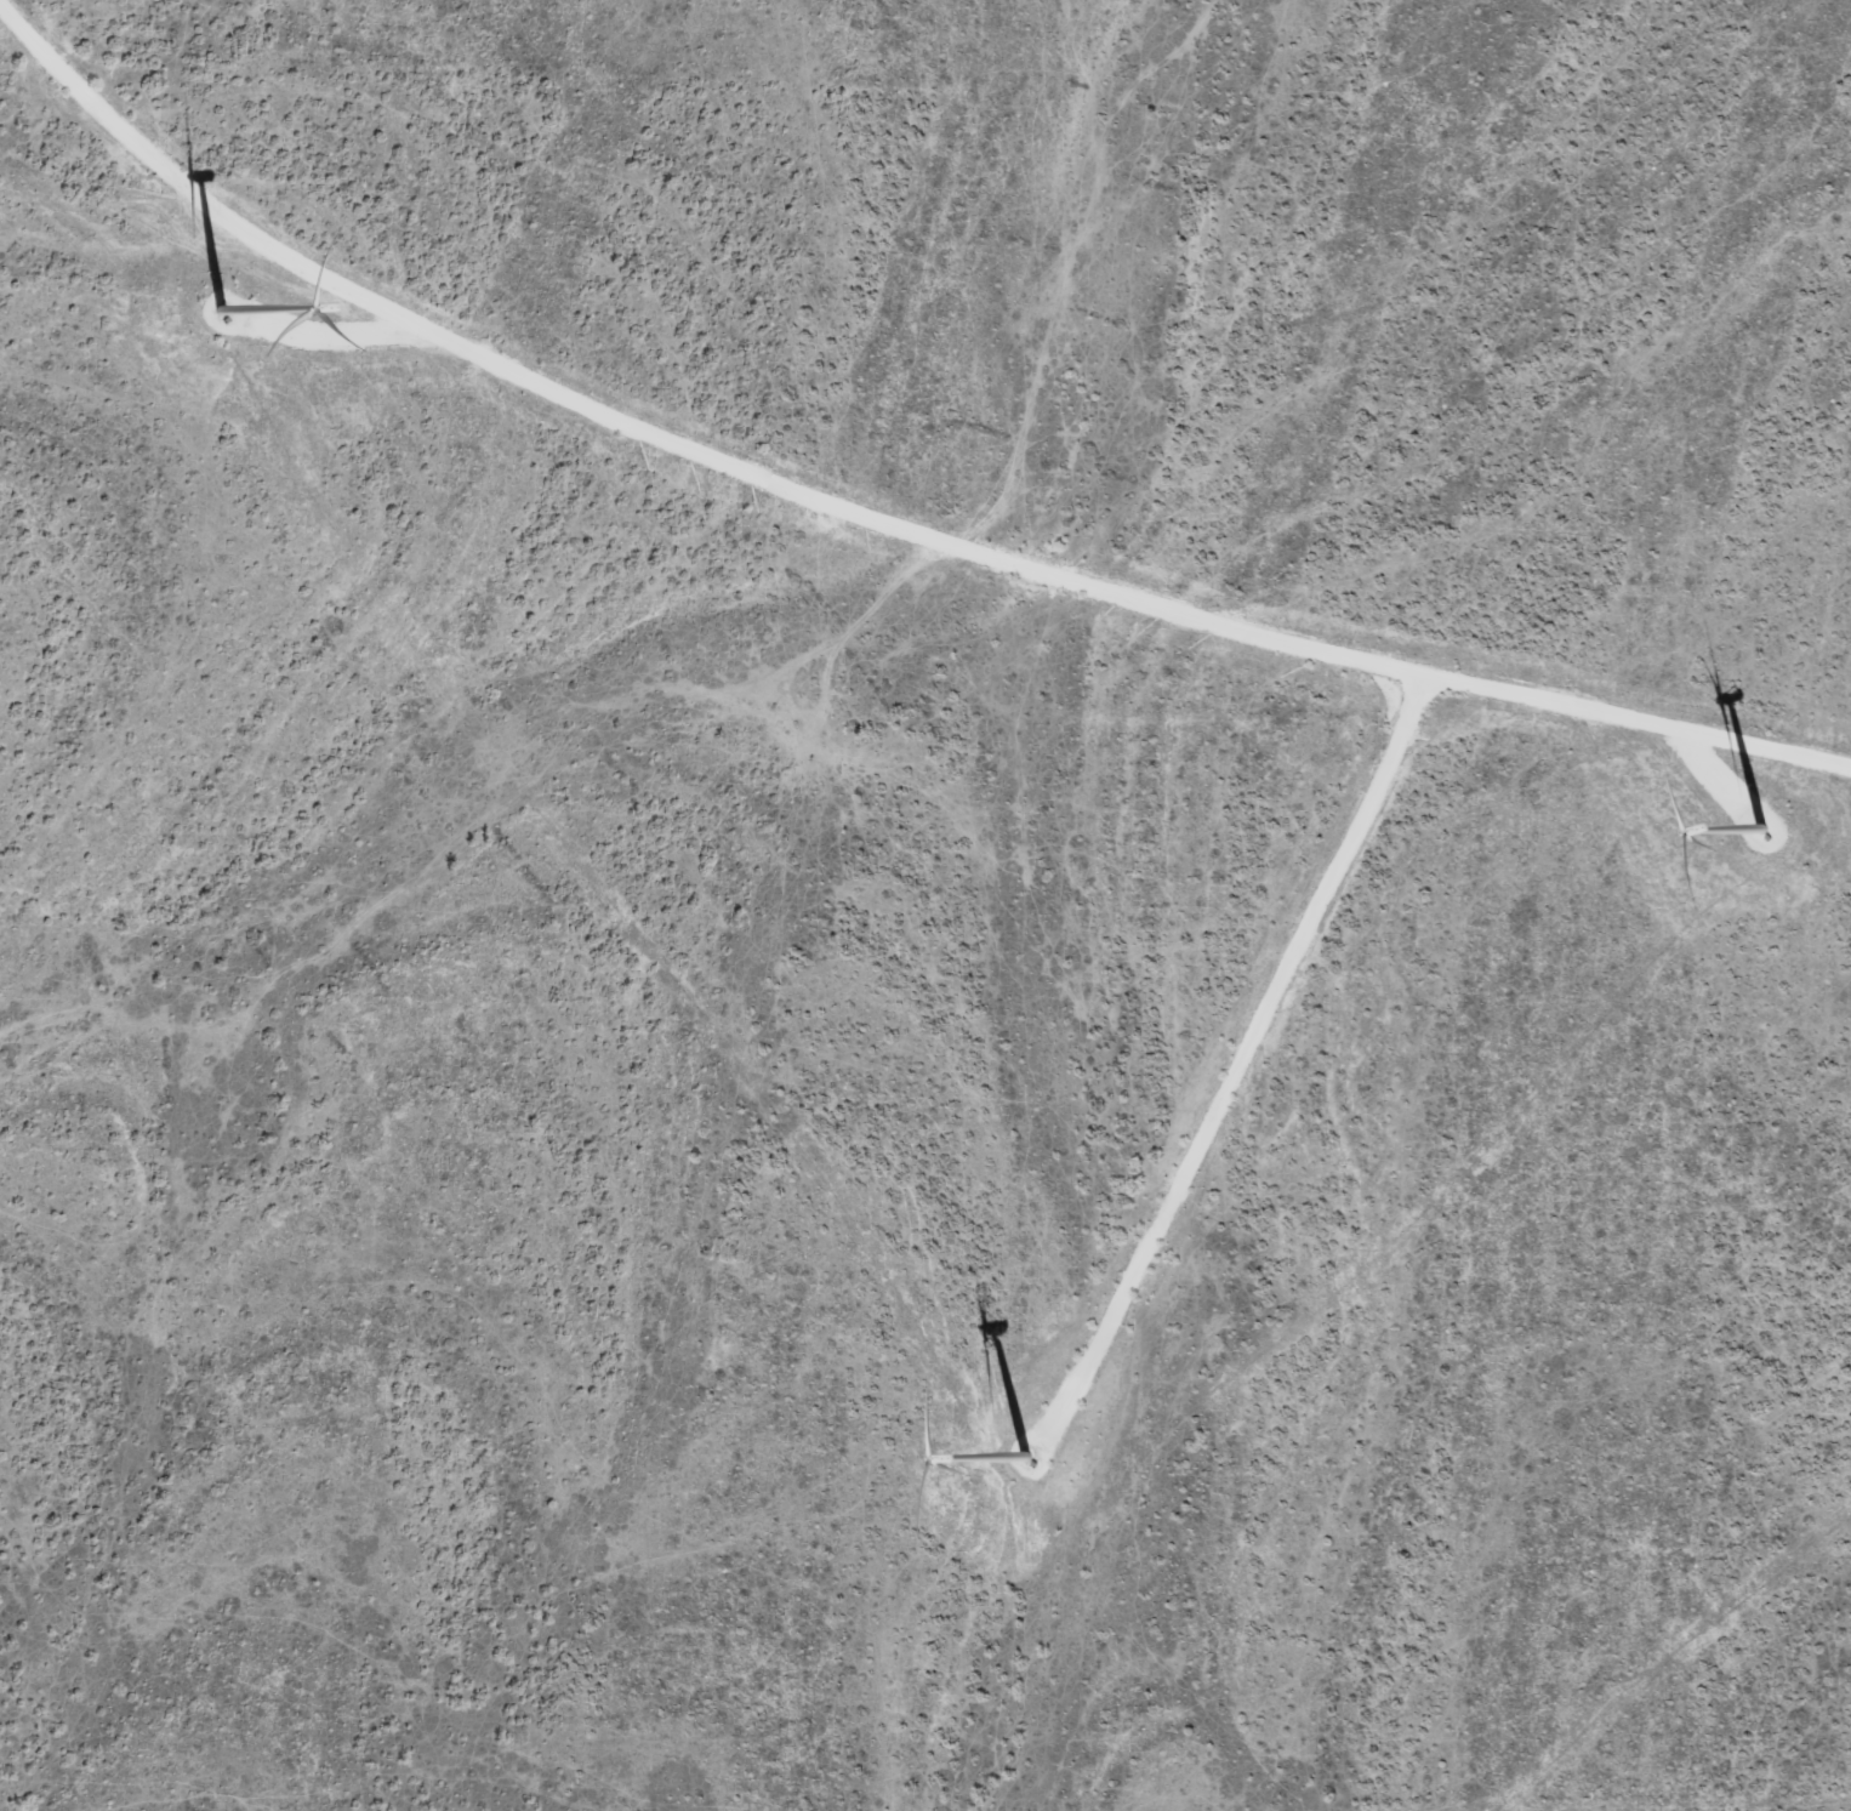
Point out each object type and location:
wind turbine: (210, 308)
road: (865, 516)
wind turbine: (1753, 836)
wind turbine: (1010, 1459)

